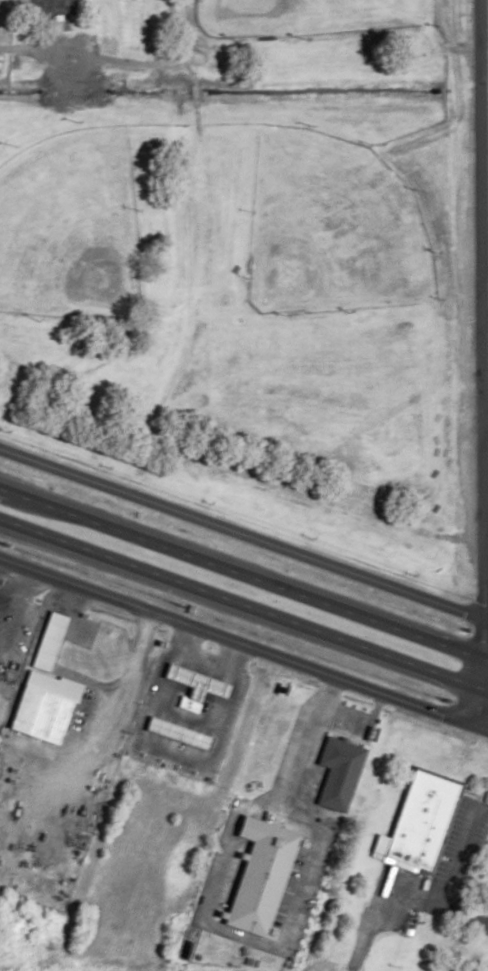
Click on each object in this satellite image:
building: (54, 8)
park: (303, 16)
road: (150, 32)
road: (134, 63)
park: (68, 224)
park: (331, 227)
park: (237, 257)
road: (480, 344)
park: (297, 356)
road: (484, 429)
road: (243, 537)
road: (244, 570)
road: (244, 608)
building: (52, 641)
road: (243, 646)
building: (200, 686)
road: (465, 704)
building: (46, 707)
building: (182, 732)
road: (93, 743)
building: (341, 772)
road: (299, 811)
building: (422, 821)
building: (265, 876)
road: (455, 911)

